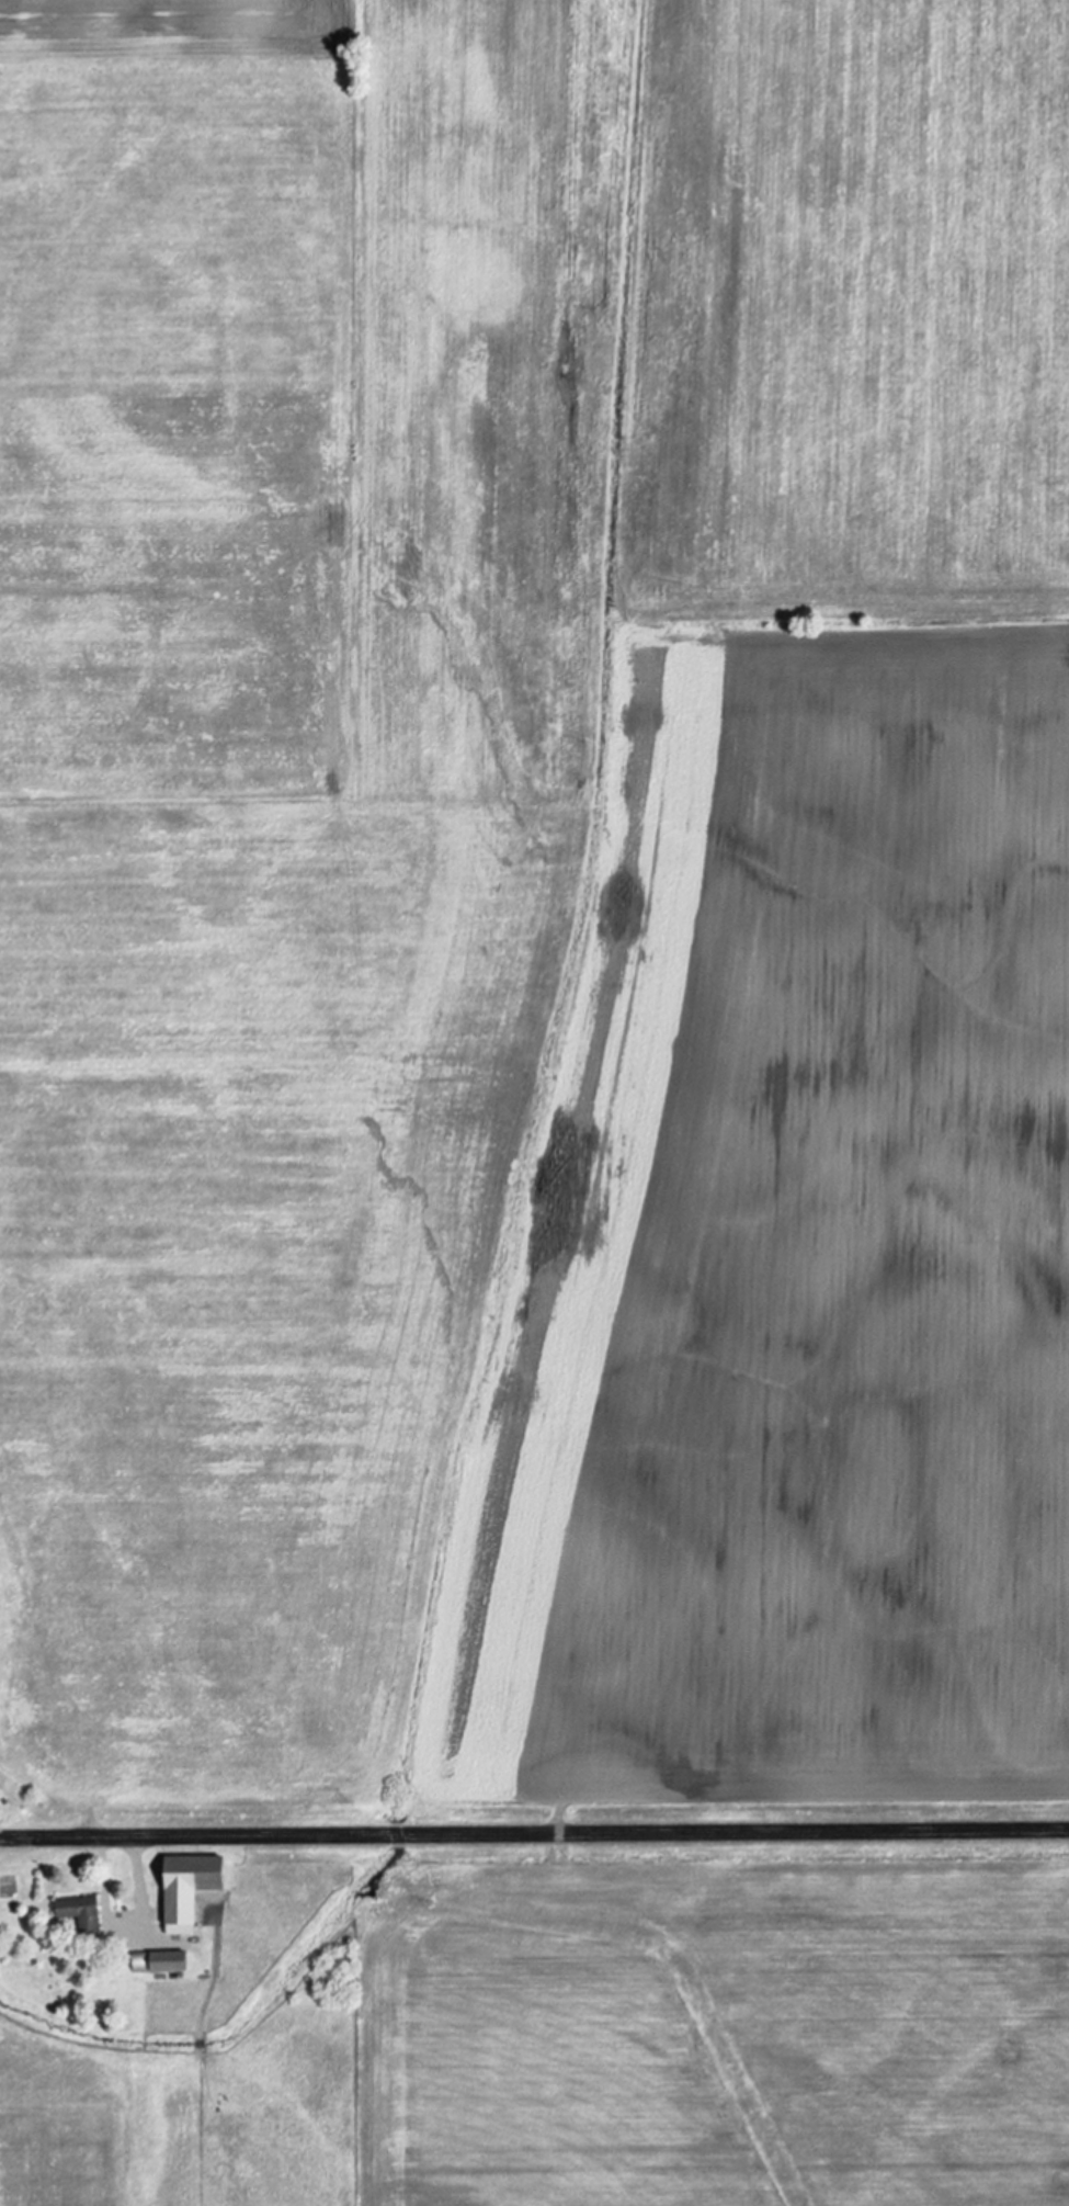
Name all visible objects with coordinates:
road: (534, 1833)
building: (184, 1889)
building: (77, 1911)
road: (129, 1935)
building: (157, 1961)

